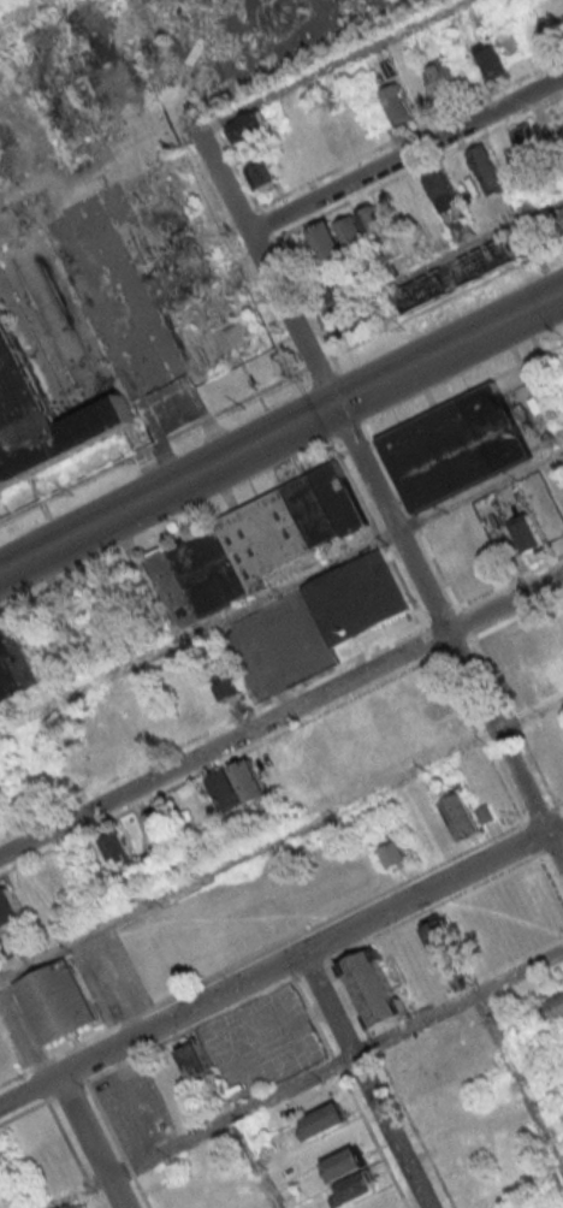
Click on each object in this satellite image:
building: (490, 59)
road: (332, 66)
building: (441, 78)
building: (397, 105)
building: (249, 129)
building: (528, 141)
road: (404, 152)
building: (486, 168)
building: (261, 174)
building: (440, 188)
building: (369, 218)
building: (561, 218)
building: (461, 229)
building: (351, 232)
building: (327, 242)
building: (115, 244)
road: (429, 265)
building: (455, 276)
road: (445, 301)
road: (315, 366)
building: (41, 410)
road: (280, 431)
road: (152, 450)
building: (456, 450)
road: (379, 499)
building: (527, 534)
building: (259, 549)
road: (281, 590)
building: (357, 598)
building: (16, 661)
building: (229, 687)
road: (280, 718)
road: (302, 722)
building: (238, 786)
building: (462, 816)
building: (0, 821)
building: (156, 821)
road: (280, 837)
building: (115, 847)
building: (395, 851)
road: (550, 881)
building: (8, 907)
road: (428, 907)
building: (445, 949)
road: (260, 952)
road: (280, 963)
road: (310, 967)
building: (373, 988)
road: (103, 990)
road: (349, 997)
building: (54, 1001)
building: (555, 1008)
road: (212, 1017)
parking lot: (17, 1034)
road: (226, 1035)
road: (373, 1044)
road: (23, 1049)
building: (195, 1060)
road: (117, 1064)
road: (307, 1077)
road: (520, 1077)
road: (366, 1079)
road: (130, 1105)
road: (97, 1106)
parking lot: (134, 1106)
road: (53, 1117)
building: (324, 1120)
road: (415, 1130)
road: (94, 1142)
road: (254, 1161)
building: (1, 1163)
building: (345, 1163)
road: (129, 1167)
road: (91, 1186)
building: (356, 1188)
road: (141, 1192)
road: (100, 1201)

